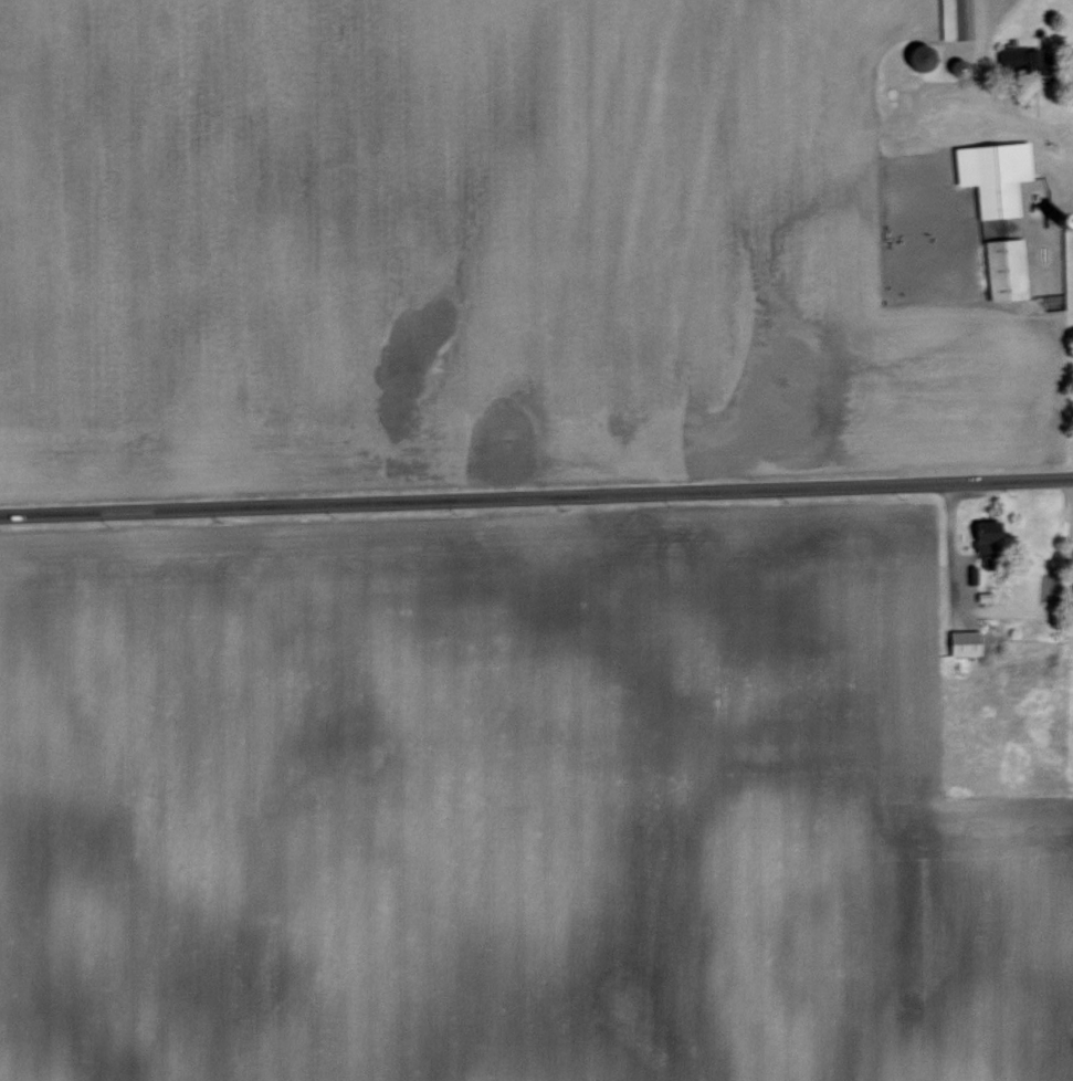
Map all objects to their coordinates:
building: (954, 18)
building: (1021, 59)
road: (1045, 127)
building: (991, 172)
building: (1003, 266)
road: (536, 500)
building: (985, 533)
road: (991, 609)
building: (962, 641)

